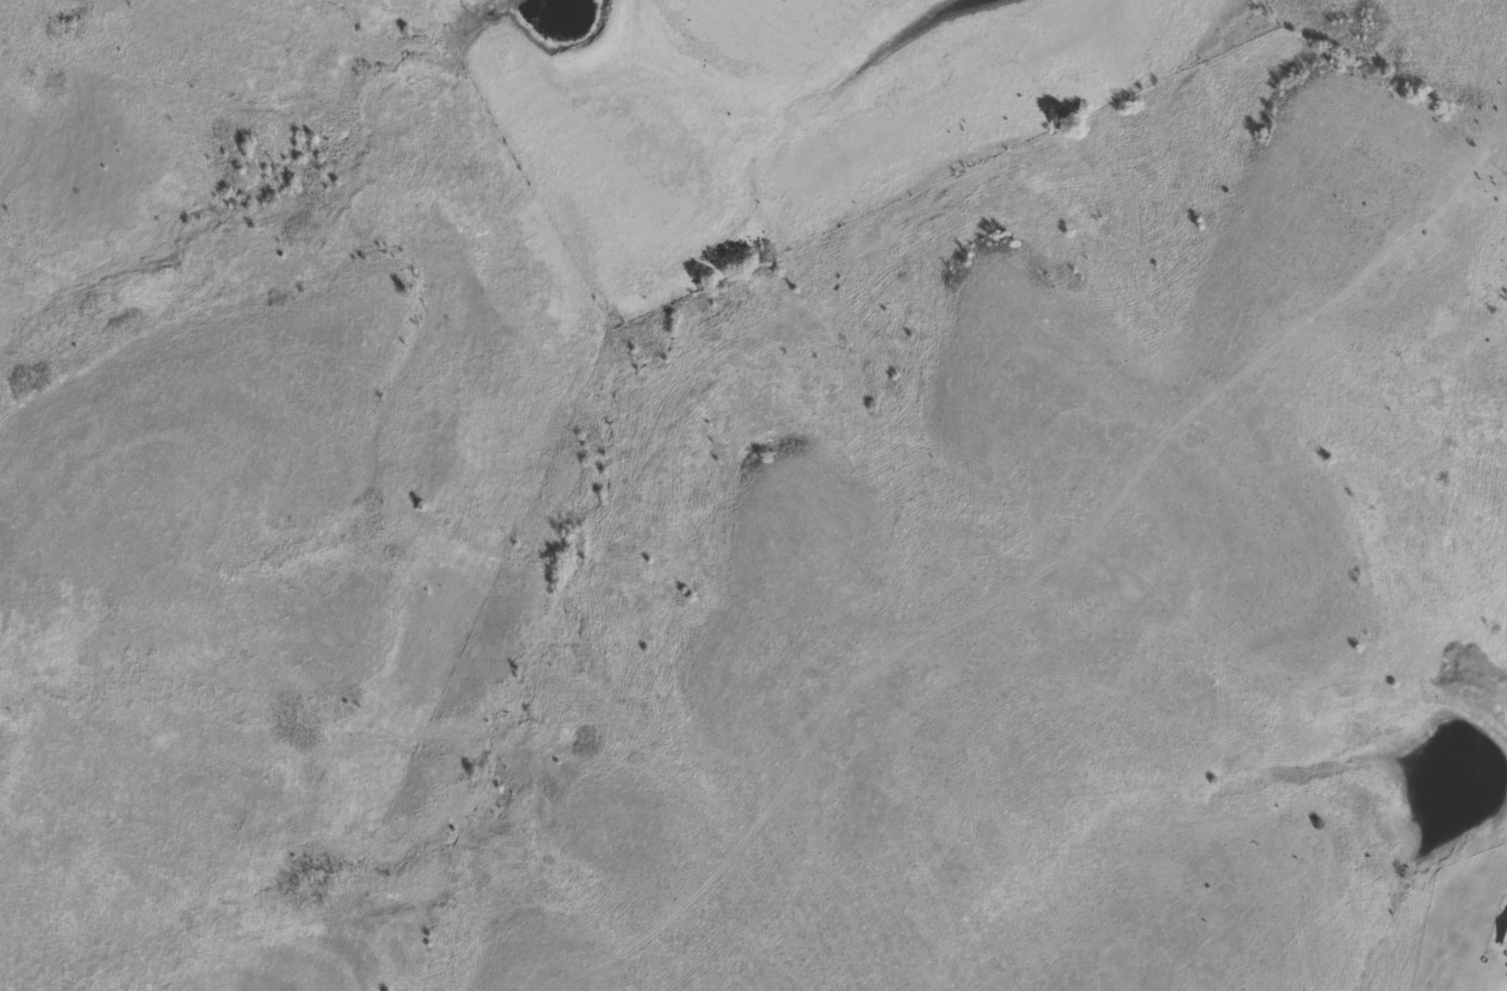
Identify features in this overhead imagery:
building: (1505, 940)

